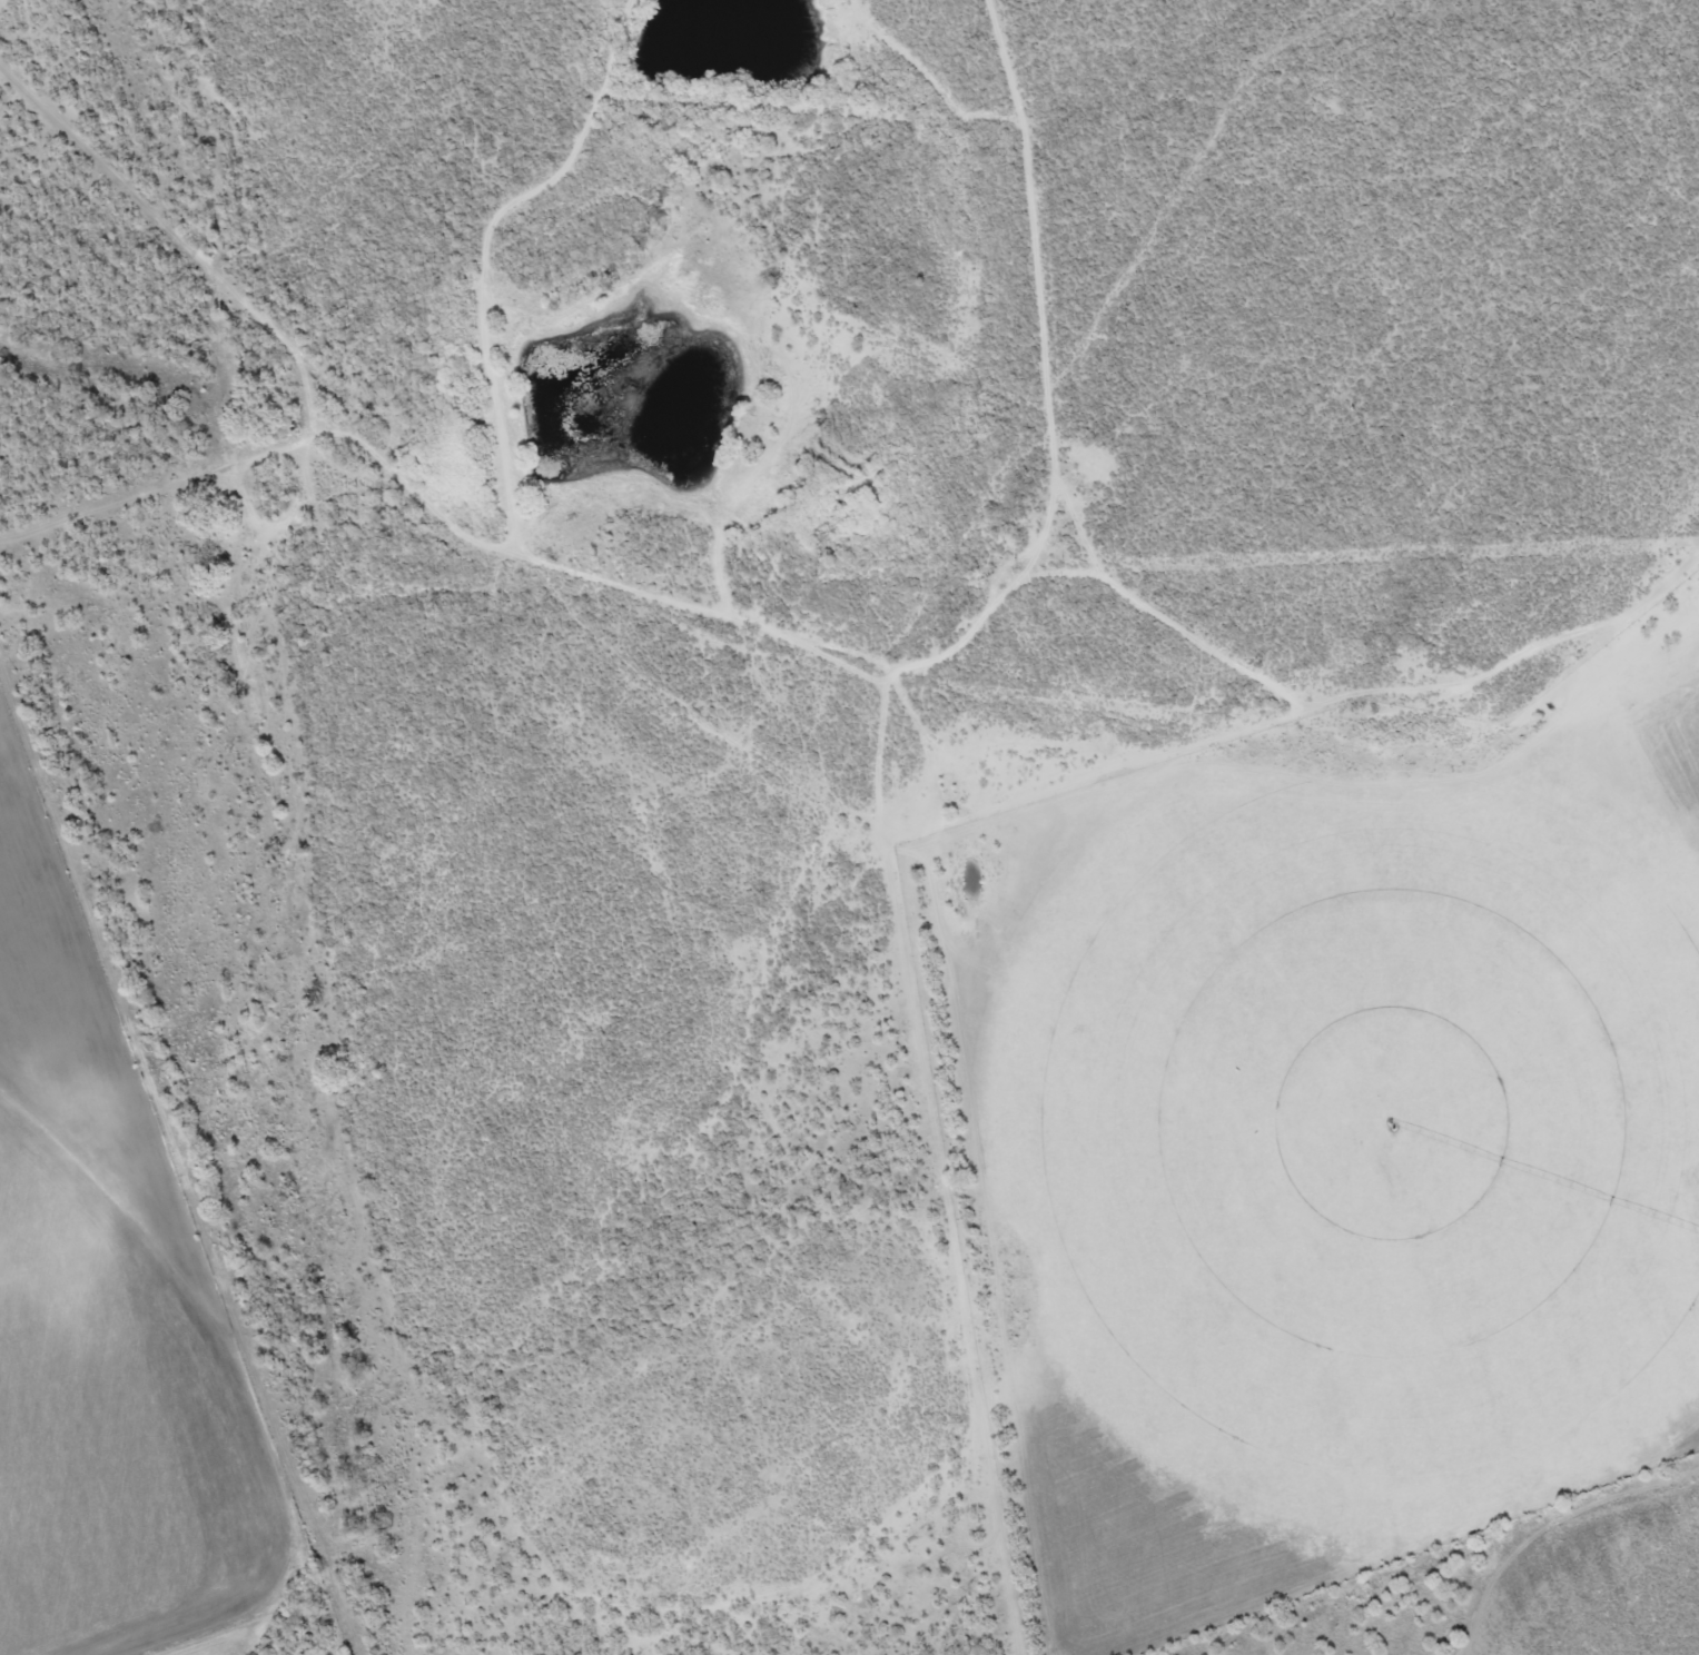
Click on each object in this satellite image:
road: (1640, 616)
road: (807, 642)
road: (739, 968)

